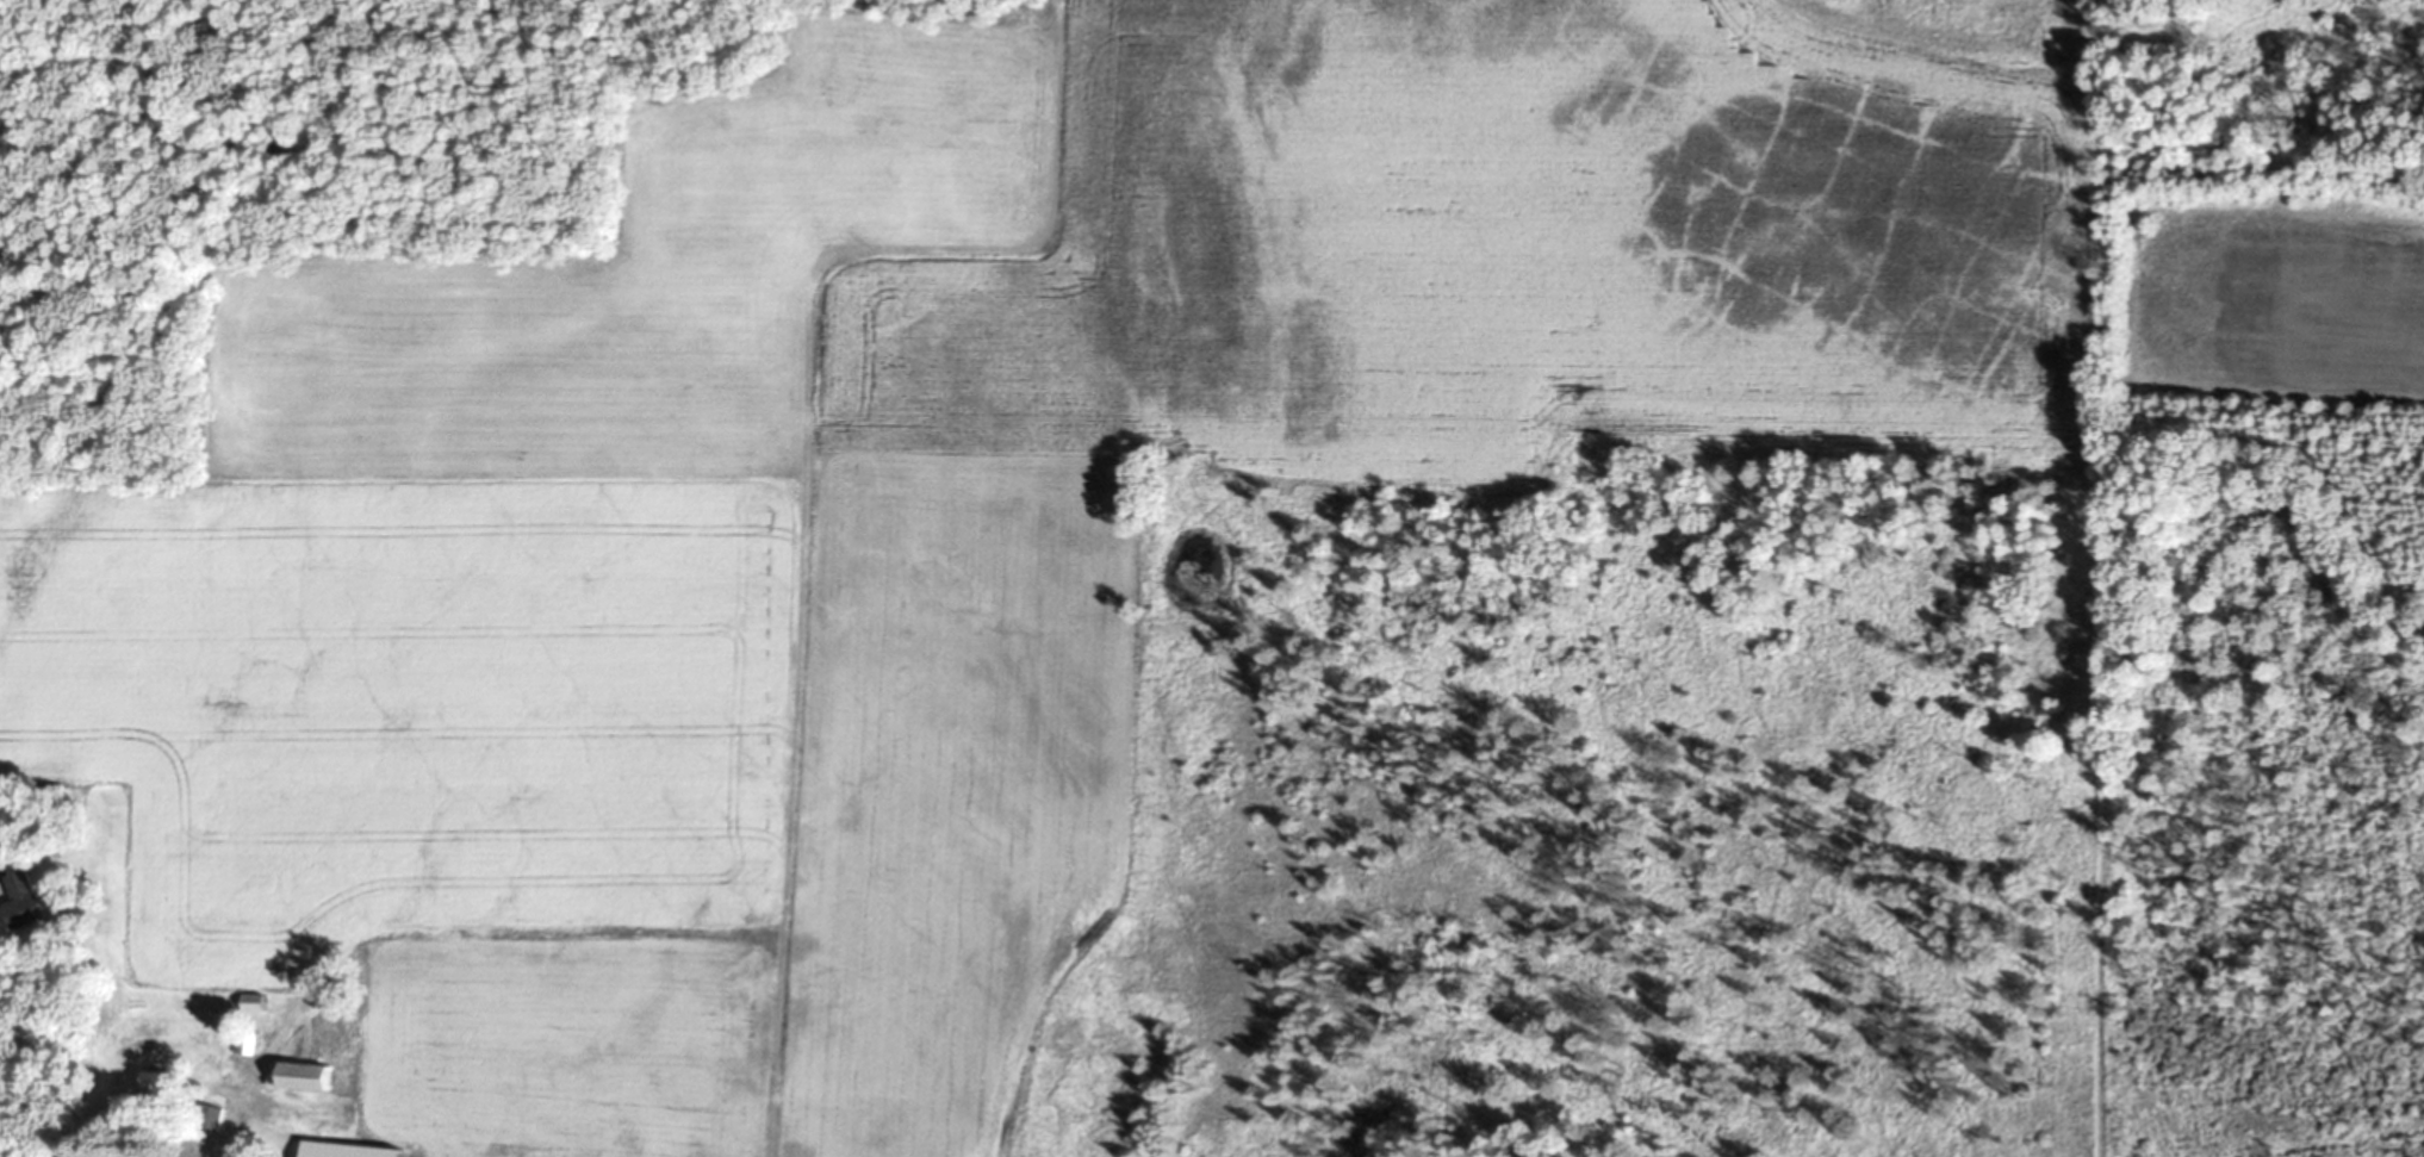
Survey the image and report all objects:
building: (38, 925)
building: (263, 1016)
building: (254, 1057)
building: (318, 1090)
building: (168, 1100)

